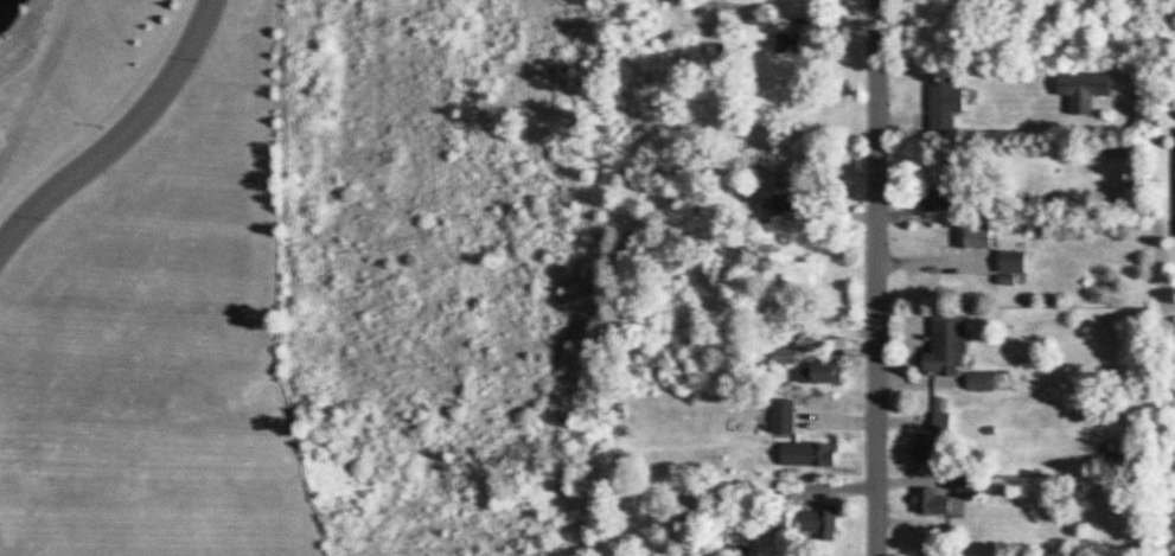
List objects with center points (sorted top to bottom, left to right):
building: (790, 43)
building: (1085, 89)
road: (96, 102)
building: (945, 102)
road: (121, 139)
building: (939, 198)
building: (790, 203)
building: (975, 236)
building: (1014, 261)
building: (800, 270)
road: (874, 277)
building: (947, 344)
building: (788, 353)
building: (823, 372)
building: (978, 379)
building: (785, 416)
building: (943, 422)
building: (927, 448)
building: (809, 453)
building: (969, 485)
building: (931, 501)
building: (823, 520)

